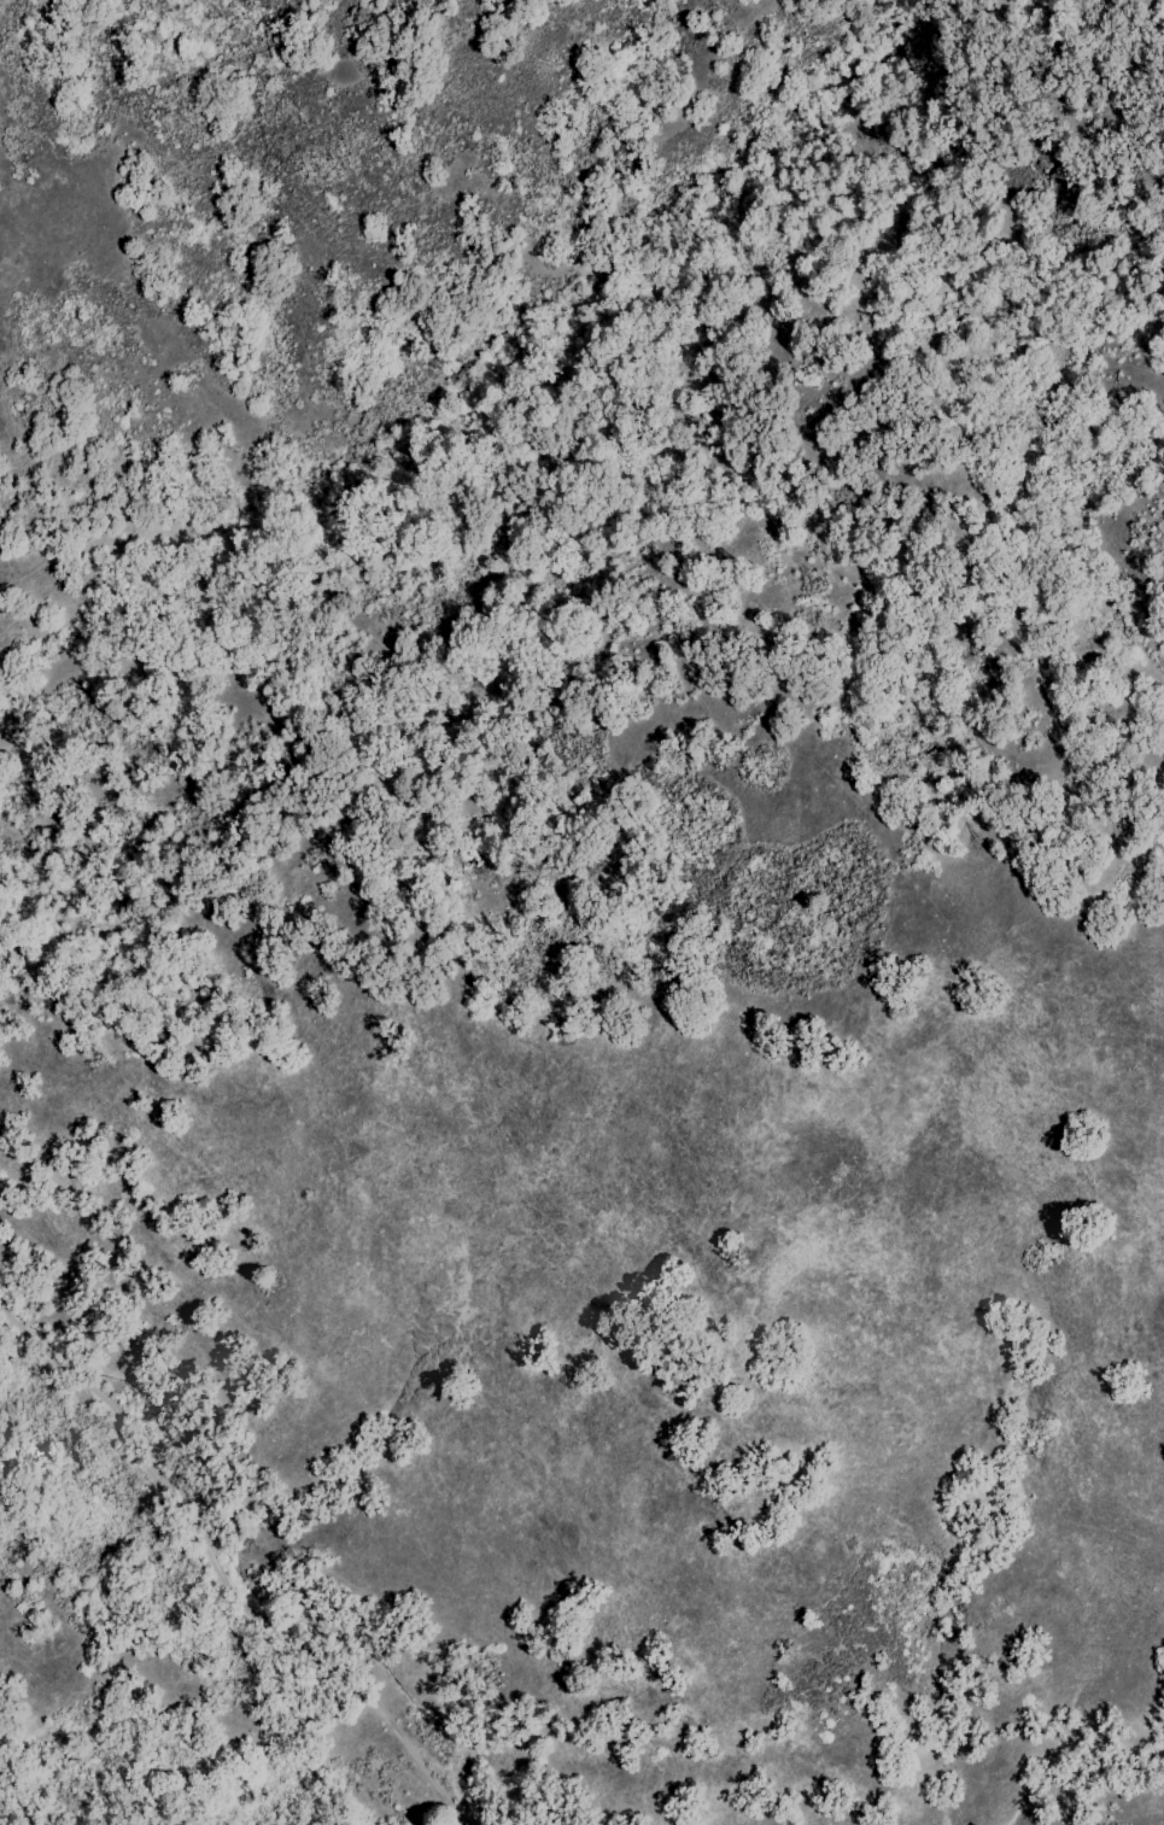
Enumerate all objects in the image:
road: (221, 1589)

